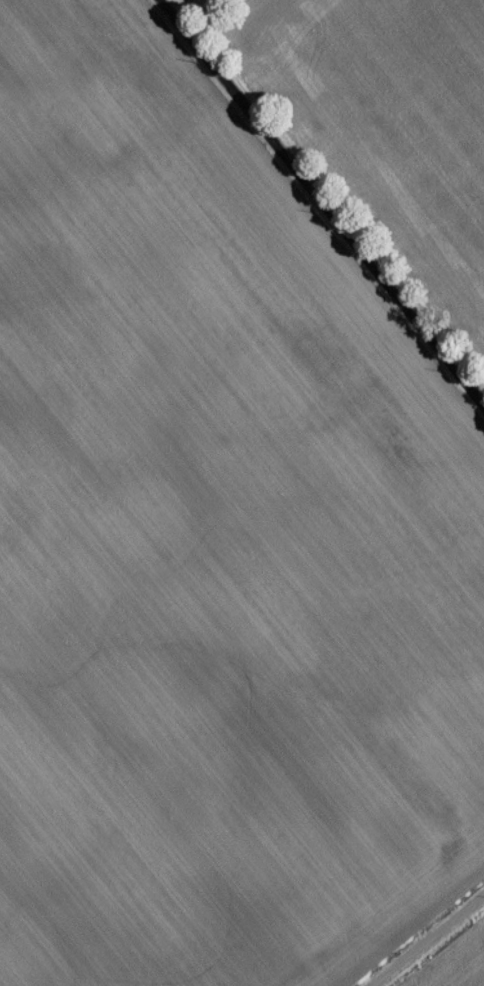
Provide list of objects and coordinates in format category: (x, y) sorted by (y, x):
road: (321, 206)
road: (428, 941)

